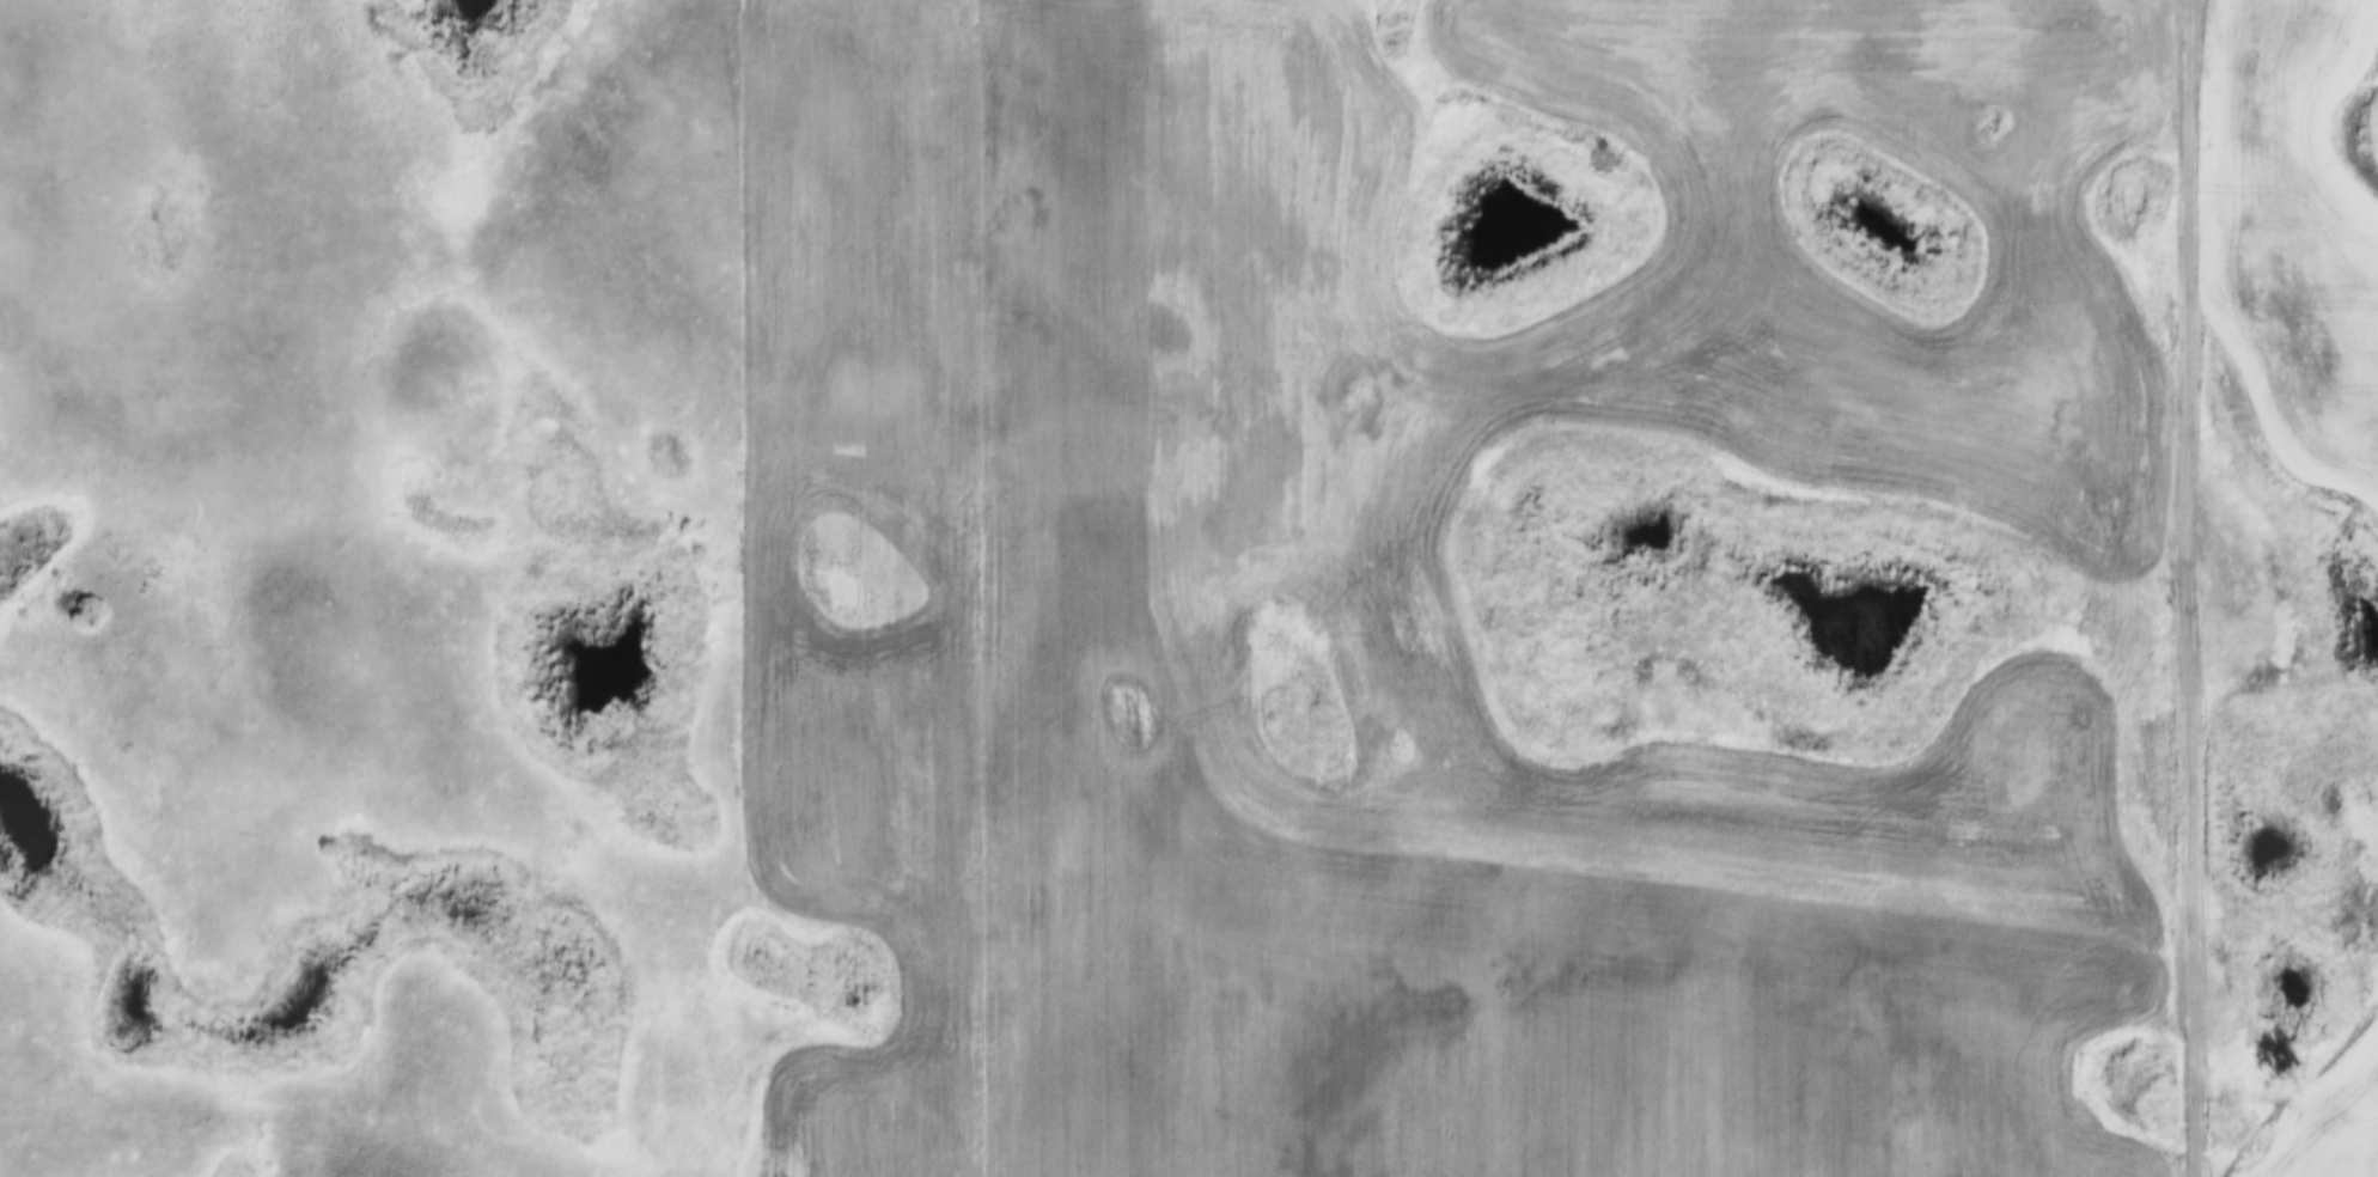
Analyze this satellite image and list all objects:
road: (2190, 588)

